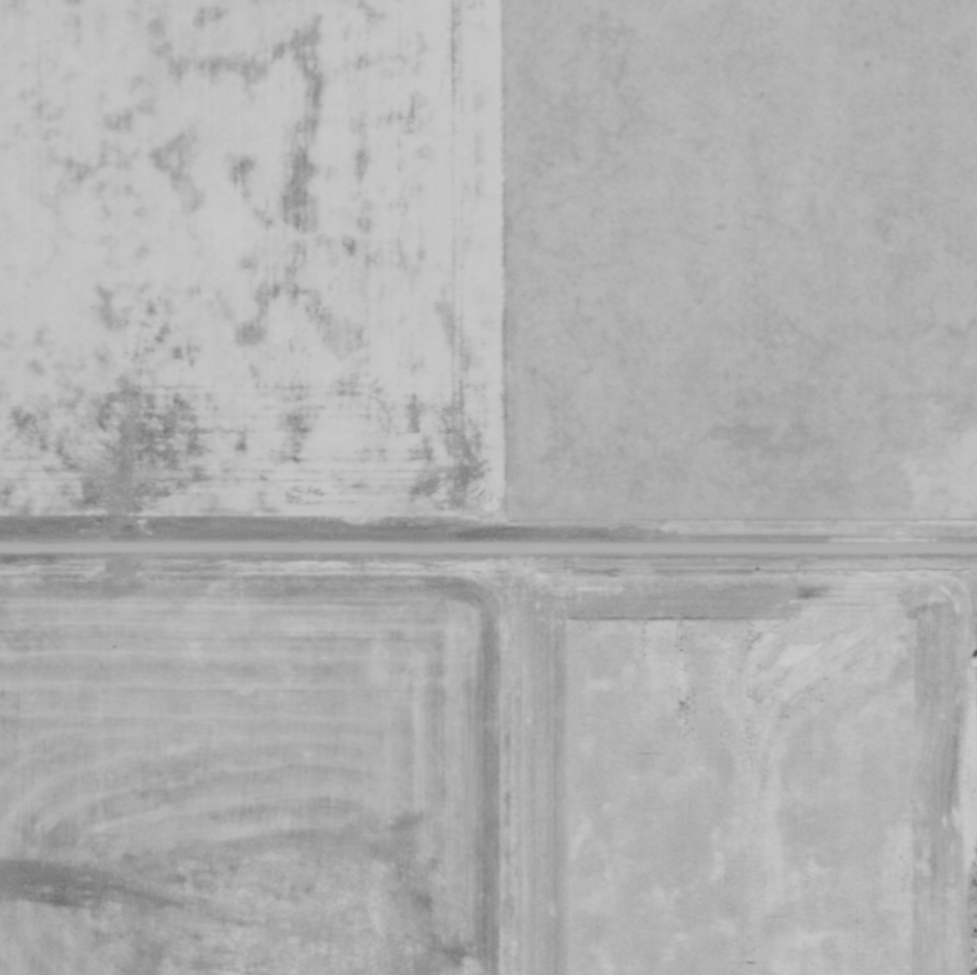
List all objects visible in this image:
road: (488, 548)

